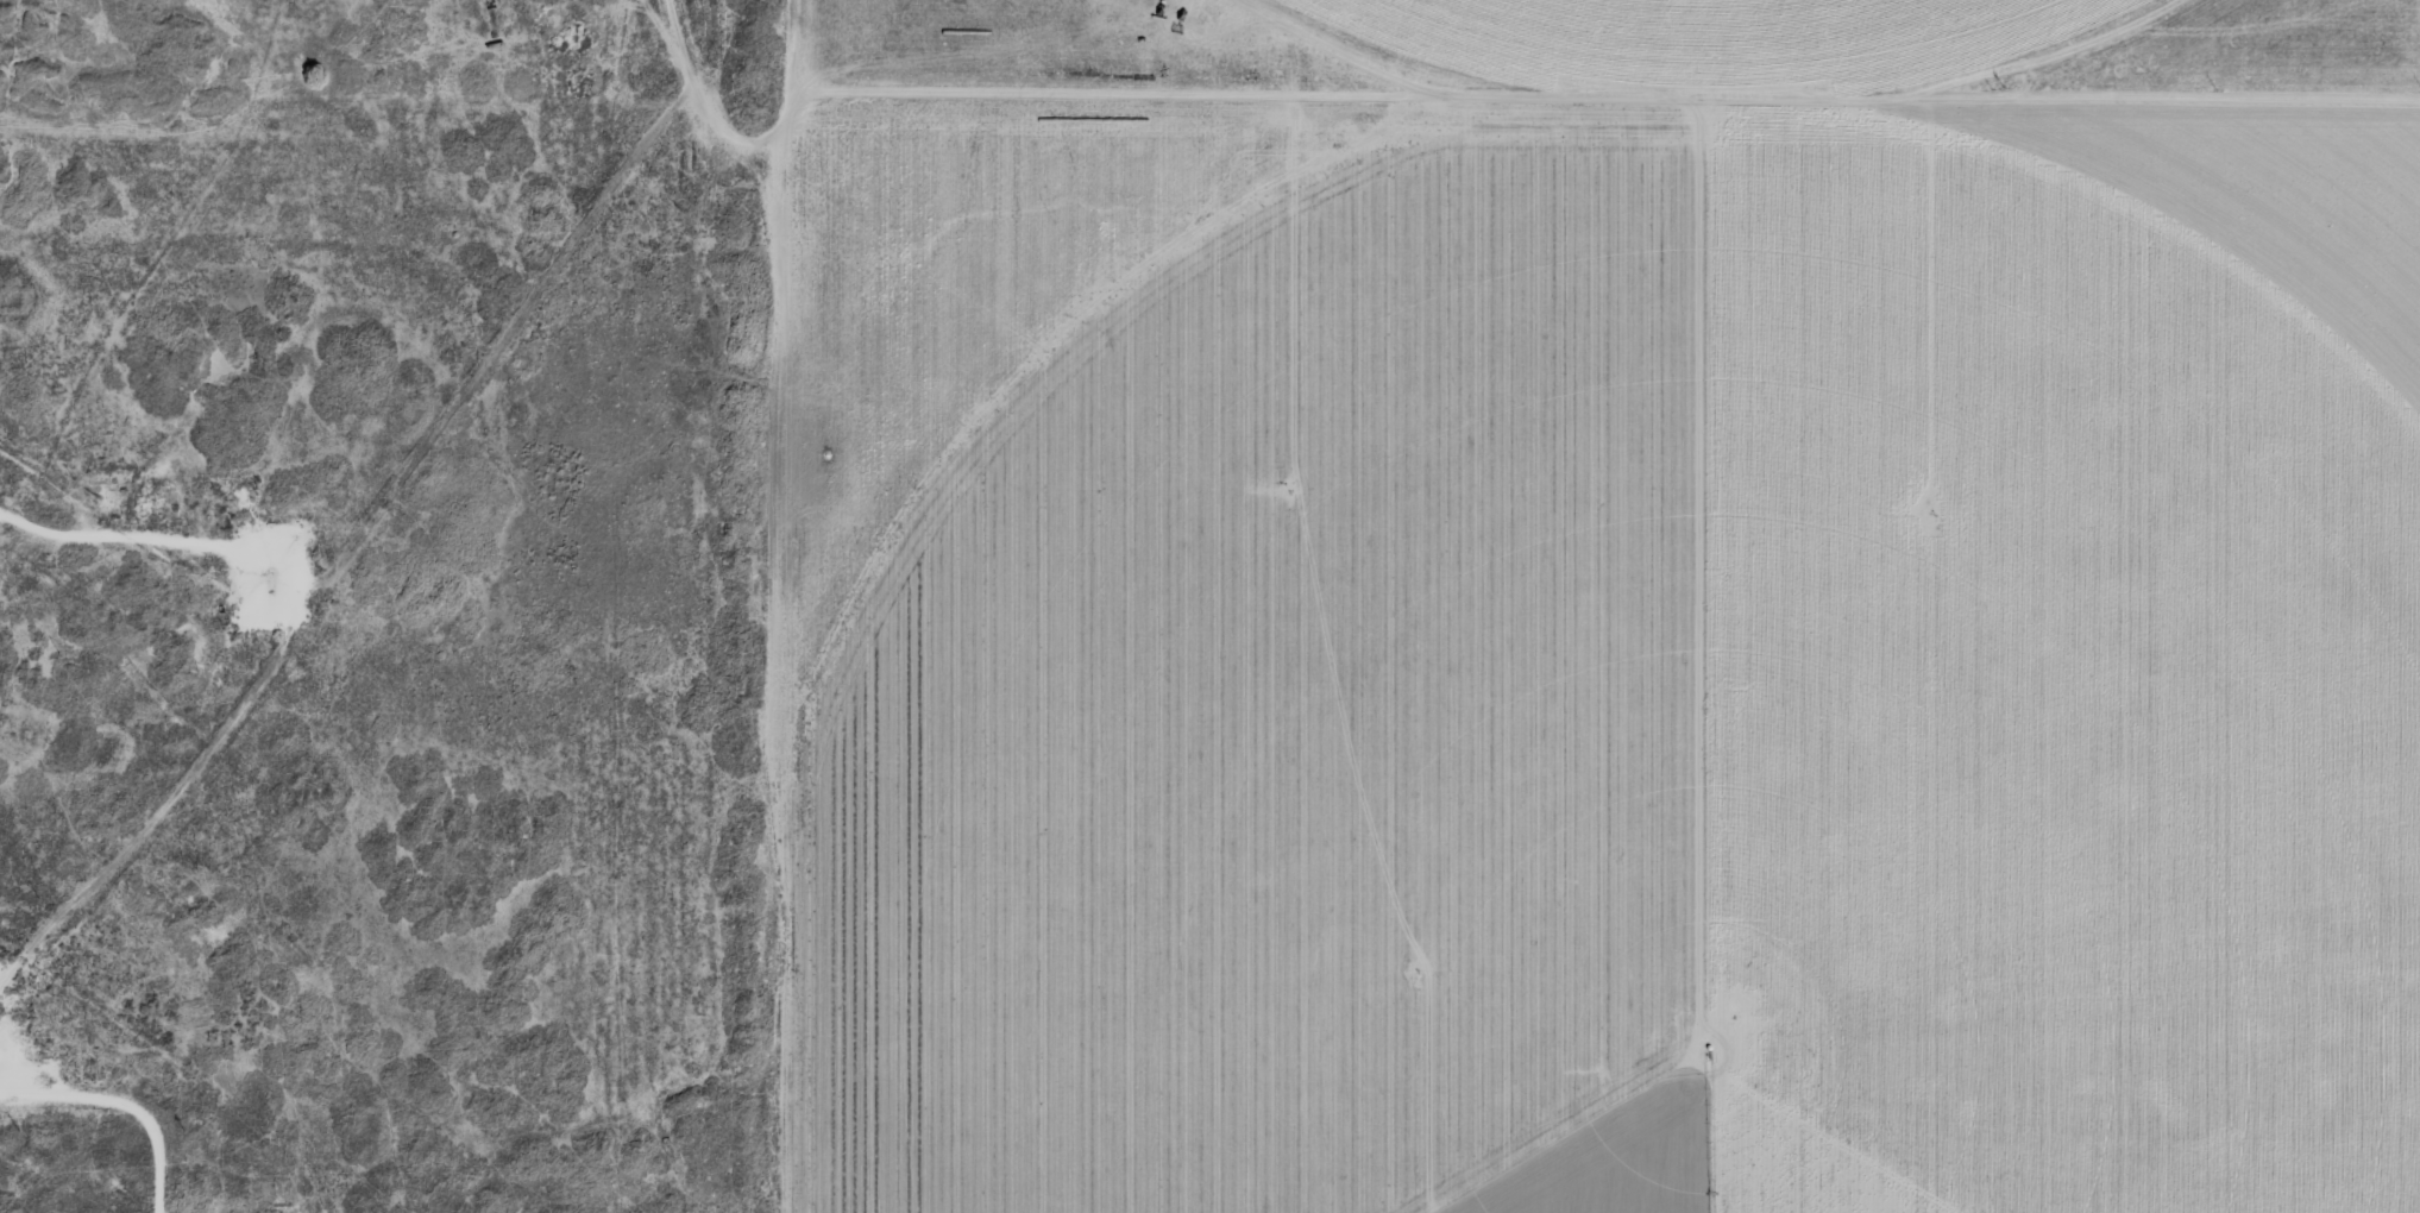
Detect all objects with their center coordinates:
road: (390, 472)
road: (164, 492)
road: (132, 1088)

